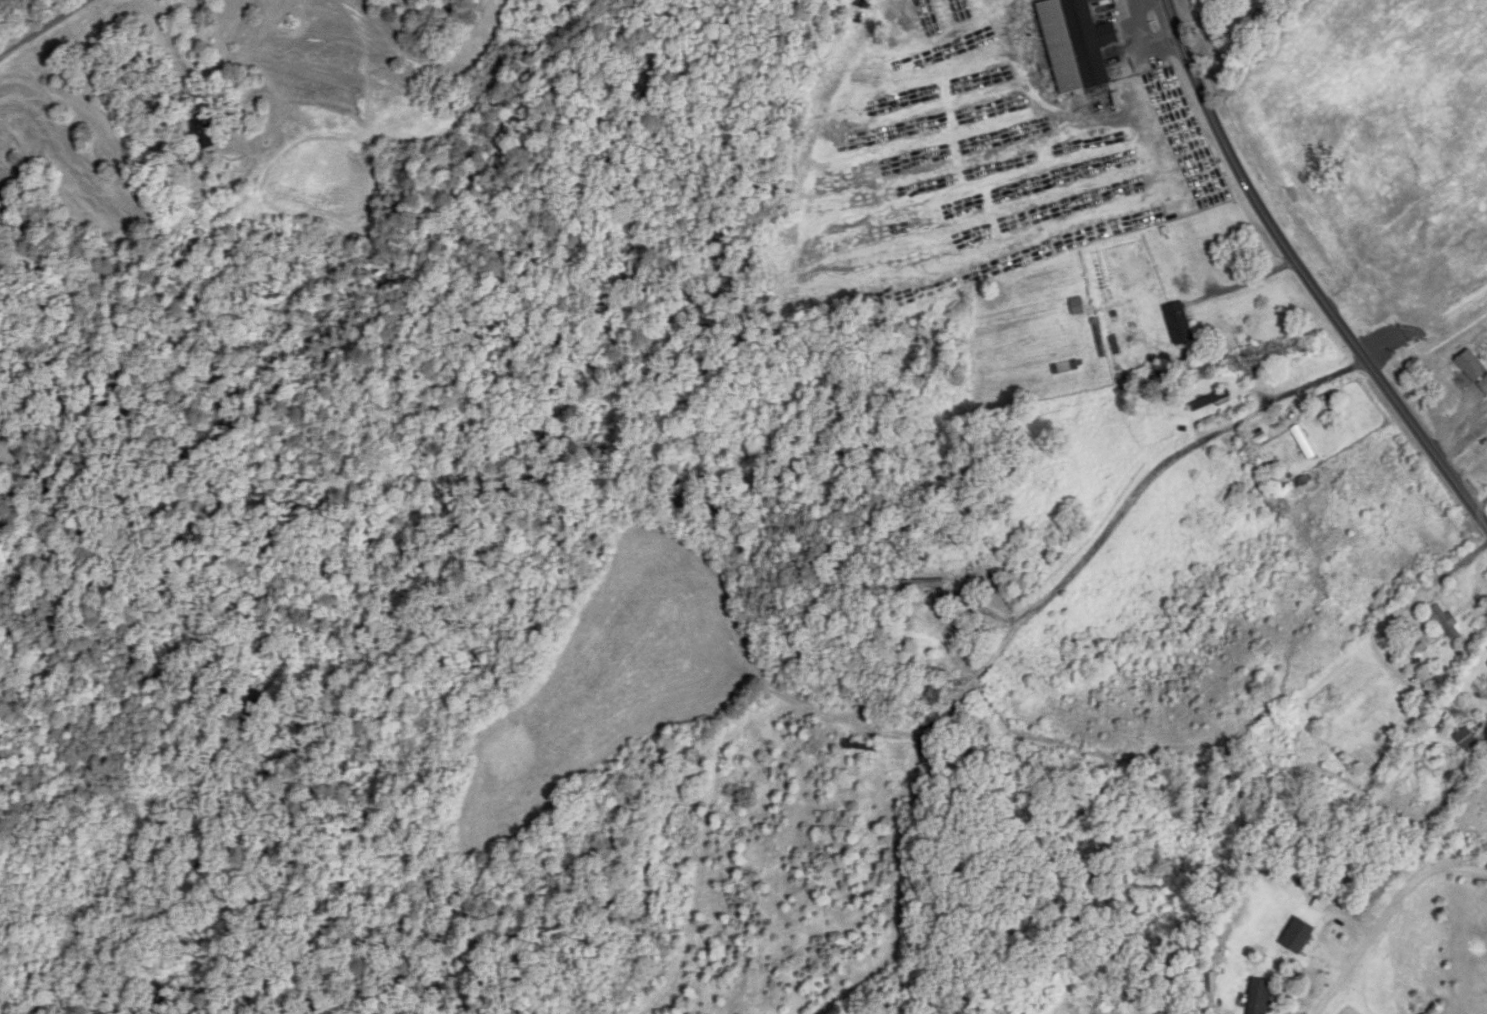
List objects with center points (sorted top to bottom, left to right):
road: (49, 33)
road: (1147, 38)
building: (1076, 45)
building: (1374, 133)
building: (1352, 199)
road: (1304, 272)
road: (1248, 283)
building: (1180, 324)
building: (1474, 369)
building: (1250, 376)
building: (1211, 401)
road: (1482, 504)
road: (1107, 528)
building: (924, 585)
building: (1447, 623)
building: (1418, 643)
building: (934, 693)
building: (1467, 740)
building: (861, 746)
building: (1350, 881)
road: (1387, 916)
building: (1298, 937)
building: (1261, 997)

